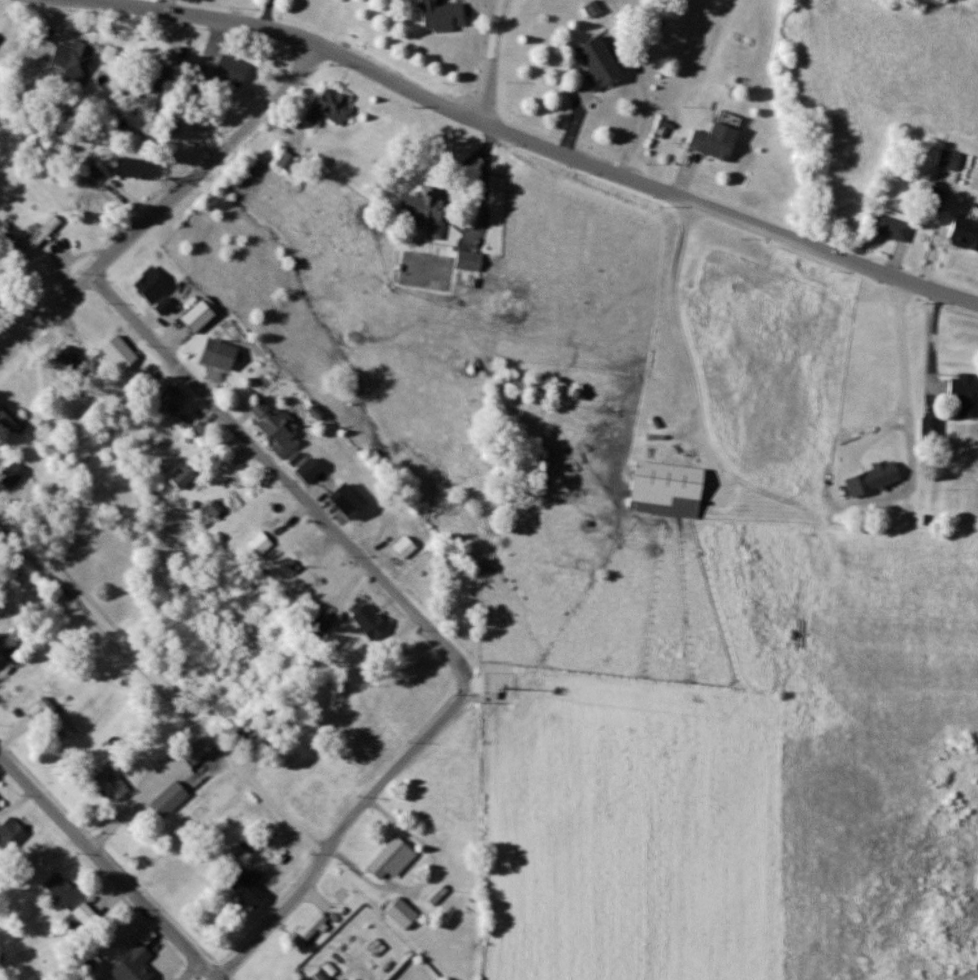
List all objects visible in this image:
road: (165, 4)
building: (441, 16)
road: (305, 39)
building: (74, 62)
road: (492, 62)
building: (600, 63)
building: (232, 71)
building: (203, 74)
building: (331, 106)
building: (716, 142)
building: (950, 160)
building: (287, 161)
building: (134, 168)
building: (94, 178)
building: (937, 199)
road: (166, 210)
building: (429, 210)
building: (93, 211)
road: (729, 217)
building: (892, 227)
building: (965, 234)
building: (40, 236)
building: (470, 260)
building: (153, 286)
building: (201, 315)
road: (681, 317)
building: (220, 355)
building: (72, 359)
building: (966, 395)
building: (170, 400)
building: (278, 429)
building: (932, 430)
building: (310, 470)
building: (885, 474)
building: (13, 476)
building: (184, 476)
road: (290, 484)
building: (668, 489)
building: (348, 501)
building: (272, 516)
building: (304, 545)
building: (371, 622)
building: (2, 659)
road: (163, 680)
crop: (867, 736)
building: (299, 753)
building: (112, 784)
building: (317, 795)
building: (170, 800)
crop: (624, 828)
building: (11, 836)
road: (339, 836)
building: (389, 858)
road: (107, 867)
building: (185, 884)
building: (246, 888)
building: (63, 891)
building: (402, 914)
building: (88, 917)
building: (310, 930)
road: (193, 972)
building: (305, 978)

